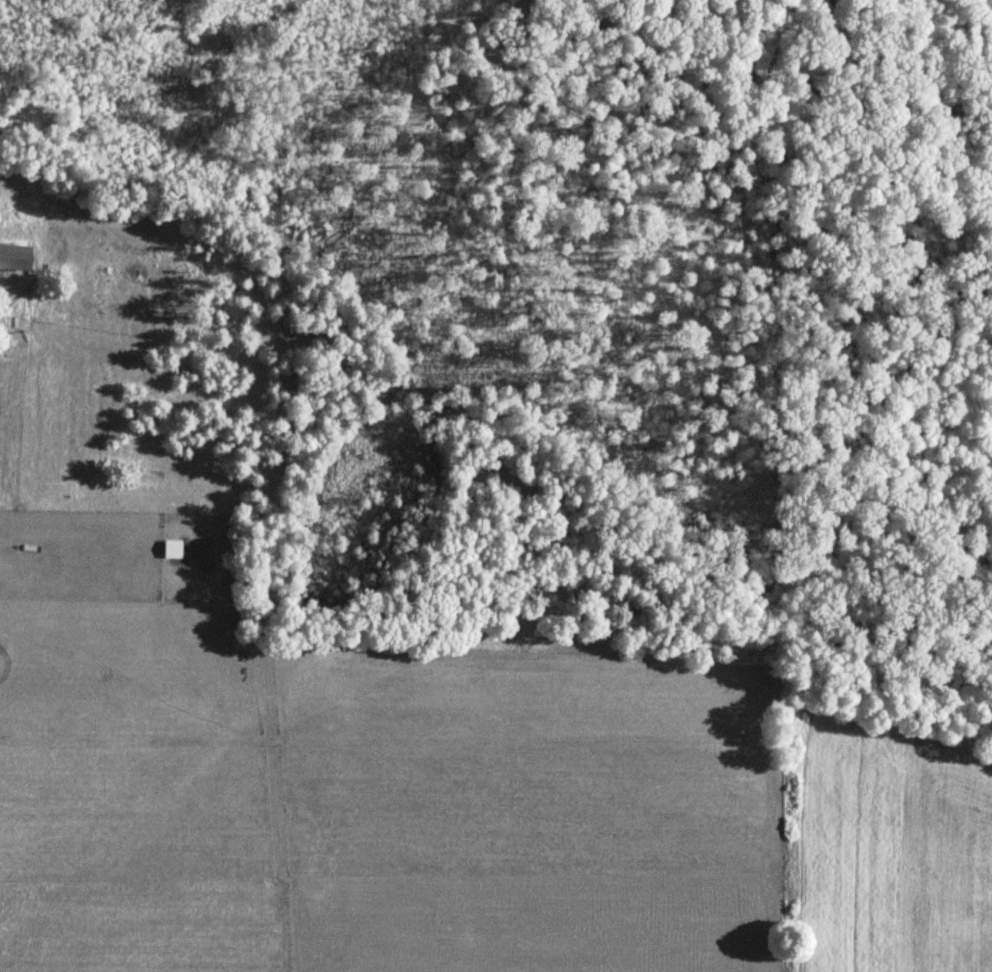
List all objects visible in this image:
building: (158, 375)

